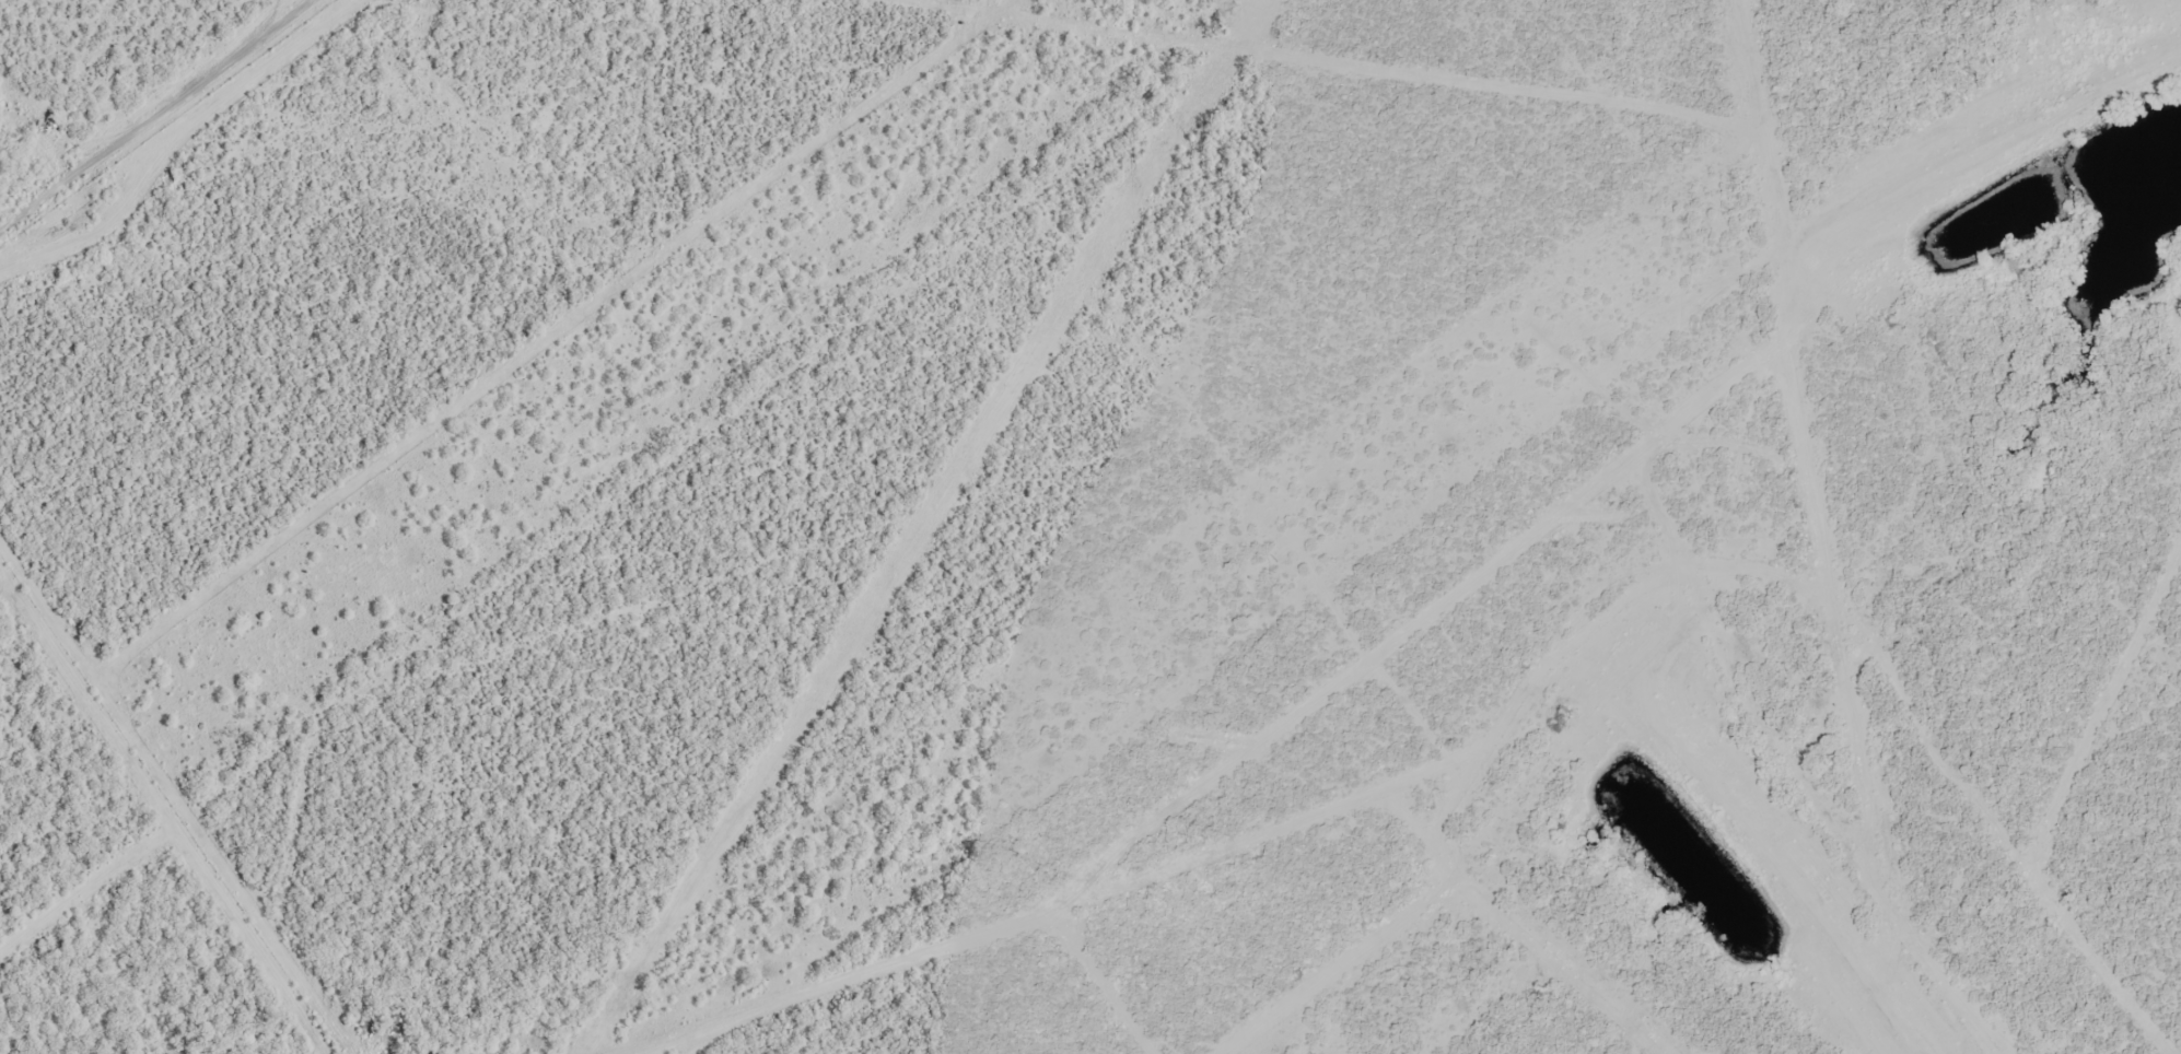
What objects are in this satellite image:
road: (1844, 537)

